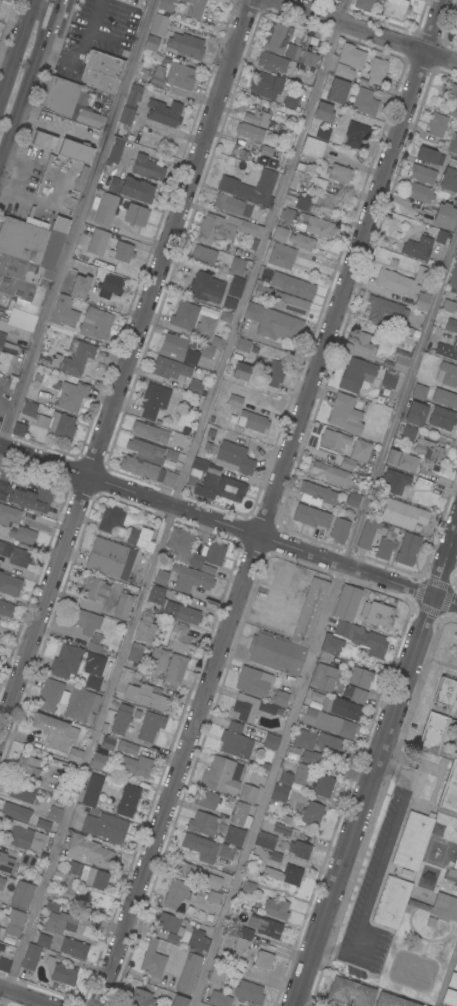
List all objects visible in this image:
building: (5, 0)
building: (364, 4)
building: (166, 5)
building: (194, 8)
building: (395, 8)
road: (342, 10)
road: (52, 11)
building: (159, 24)
road: (367, 30)
building: (275, 37)
building: (151, 42)
building: (186, 45)
road: (17, 51)
building: (292, 52)
building: (351, 55)
building: (309, 58)
building: (271, 61)
building: (377, 70)
building: (99, 71)
building: (344, 71)
building: (173, 75)
building: (359, 77)
building: (265, 84)
building: (336, 88)
building: (450, 91)
road: (24, 93)
building: (59, 95)
building: (291, 100)
building: (366, 101)
building: (131, 104)
building: (455, 105)
building: (164, 112)
building: (323, 112)
building: (452, 112)
building: (89, 116)
building: (257, 118)
building: (437, 124)
building: (276, 125)
building: (250, 131)
building: (321, 131)
building: (355, 134)
building: (44, 140)
building: (453, 143)
building: (78, 148)
building: (312, 149)
building: (114, 150)
building: (266, 151)
building: (430, 155)
building: (263, 160)
building: (272, 163)
building: (147, 168)
building: (339, 173)
building: (423, 174)
building: (449, 176)
building: (316, 183)
building: (251, 187)
building: (132, 188)
building: (419, 192)
building: (328, 200)
building: (228, 203)
building: (305, 203)
building: (106, 210)
building: (135, 214)
building: (286, 214)
building: (445, 216)
road: (75, 221)
building: (36, 222)
building: (59, 225)
building: (315, 225)
building: (214, 228)
building: (249, 228)
building: (279, 233)
building: (441, 237)
building: (301, 241)
building: (29, 242)
building: (97, 242)
building: (418, 248)
building: (120, 250)
building: (242, 252)
building: (203, 254)
building: (282, 255)
road: (255, 263)
building: (237, 266)
building: (266, 274)
building: (453, 278)
building: (24, 279)
building: (402, 280)
building: (293, 285)
building: (80, 286)
building: (110, 286)
building: (236, 286)
building: (206, 287)
building: (262, 292)
building: (424, 297)
building: (3, 300)
building: (230, 303)
building: (290, 303)
building: (449, 305)
building: (26, 307)
building: (386, 309)
building: (64, 311)
building: (211, 312)
building: (185, 315)
building: (225, 316)
building: (95, 323)
building: (248, 324)
building: (273, 324)
building: (451, 324)
building: (205, 325)
building: (409, 329)
building: (15, 330)
building: (217, 341)
building: (243, 344)
building: (363, 344)
building: (7, 345)
building: (175, 346)
building: (447, 347)
building: (202, 349)
building: (76, 357)
building: (6, 361)
road: (124, 362)
building: (400, 364)
building: (169, 368)
building: (242, 371)
building: (276, 373)
building: (448, 373)
building: (356, 374)
building: (38, 377)
building: (389, 380)
building: (197, 388)
building: (419, 391)
building: (51, 393)
building: (72, 395)
building: (445, 398)
building: (234, 400)
building: (154, 401)
building: (173, 406)
building: (29, 409)
building: (215, 410)
building: (347, 413)
building: (416, 413)
building: (442, 417)
building: (212, 419)
building: (253, 421)
building: (61, 424)
building: (17, 429)
building: (155, 433)
building: (210, 433)
building: (408, 433)
building: (334, 439)
building: (428, 449)
building: (146, 450)
building: (360, 450)
building: (171, 454)
building: (232, 457)
building: (402, 460)
building: (198, 467)
building: (330, 468)
building: (147, 470)
building: (10, 478)
building: (393, 481)
building: (221, 488)
building: (317, 494)
building: (2, 496)
building: (34, 496)
building: (354, 499)
road: (269, 502)
building: (403, 514)
building: (9, 515)
building: (311, 516)
building: (111, 518)
road: (228, 524)
building: (339, 530)
building: (368, 532)
building: (22, 534)
building: (141, 537)
building: (118, 538)
building: (384, 548)
building: (408, 548)
building: (186, 549)
building: (215, 553)
building: (14, 554)
building: (110, 558)
building: (141, 563)
building: (132, 577)
building: (161, 577)
building: (191, 578)
building: (10, 584)
building: (93, 593)
building: (156, 594)
building: (347, 602)
building: (123, 605)
building: (312, 605)
building: (6, 609)
building: (181, 612)
building: (377, 613)
building: (86, 621)
road: (323, 622)
building: (145, 627)
building: (362, 637)
building: (180, 638)
building: (95, 643)
building: (331, 644)
building: (135, 652)
building: (66, 660)
building: (155, 662)
building: (94, 669)
building: (175, 669)
building: (323, 677)
building: (360, 677)
building: (253, 681)
building: (445, 691)
building: (50, 694)
building: (355, 694)
building: (145, 696)
building: (280, 698)
building: (81, 703)
building: (247, 707)
building: (341, 707)
building: (270, 708)
building: (137, 713)
building: (121, 720)
building: (328, 722)
building: (150, 726)
building: (104, 728)
building: (56, 732)
building: (304, 738)
building: (272, 739)
building: (105, 740)
building: (235, 741)
building: (328, 743)
building: (127, 747)
road: (90, 748)
building: (75, 753)
building: (441, 755)
building: (311, 758)
building: (57, 762)
building: (99, 762)
building: (25, 763)
building: (135, 765)
road: (374, 765)
building: (302, 774)
building: (222, 775)
building: (285, 778)
building: (323, 786)
building: (94, 790)
building: (22, 792)
building: (248, 793)
building: (279, 794)
building: (128, 799)
building: (207, 799)
building: (16, 811)
building: (54, 813)
building: (239, 813)
building: (312, 813)
building: (203, 823)
building: (43, 824)
building: (105, 827)
building: (283, 827)
building: (234, 836)
building: (25, 837)
building: (265, 839)
building: (413, 840)
building: (200, 846)
building: (299, 849)
building: (89, 851)
building: (226, 851)
building: (28, 860)
building: (6, 863)
building: (455, 863)
road: (379, 867)
building: (282, 870)
building: (451, 872)
building: (196, 874)
building: (90, 875)
building: (56, 876)
building: (2, 883)
building: (248, 887)
building: (19, 892)
building: (177, 893)
building: (213, 897)
parking lot: (374, 899)
building: (408, 903)
building: (53, 907)
building: (276, 908)
building: (14, 922)
building: (60, 922)
building: (170, 926)
building: (266, 926)
building: (242, 931)
building: (8, 939)
building: (198, 940)
building: (65, 944)
building: (241, 945)
building: (0, 947)
building: (31, 956)
building: (263, 959)
building: (153, 960)
building: (5, 964)
building: (455, 964)
building: (61, 969)
building: (188, 973)
building: (217, 975)
building: (453, 981)
building: (350, 992)
building: (248, 993)
road: (24, 997)
building: (142, 997)
building: (450, 997)
road: (5, 999)
building: (219, 999)
building: (179, 1001)
road: (311, 1001)
building: (392, 1001)

